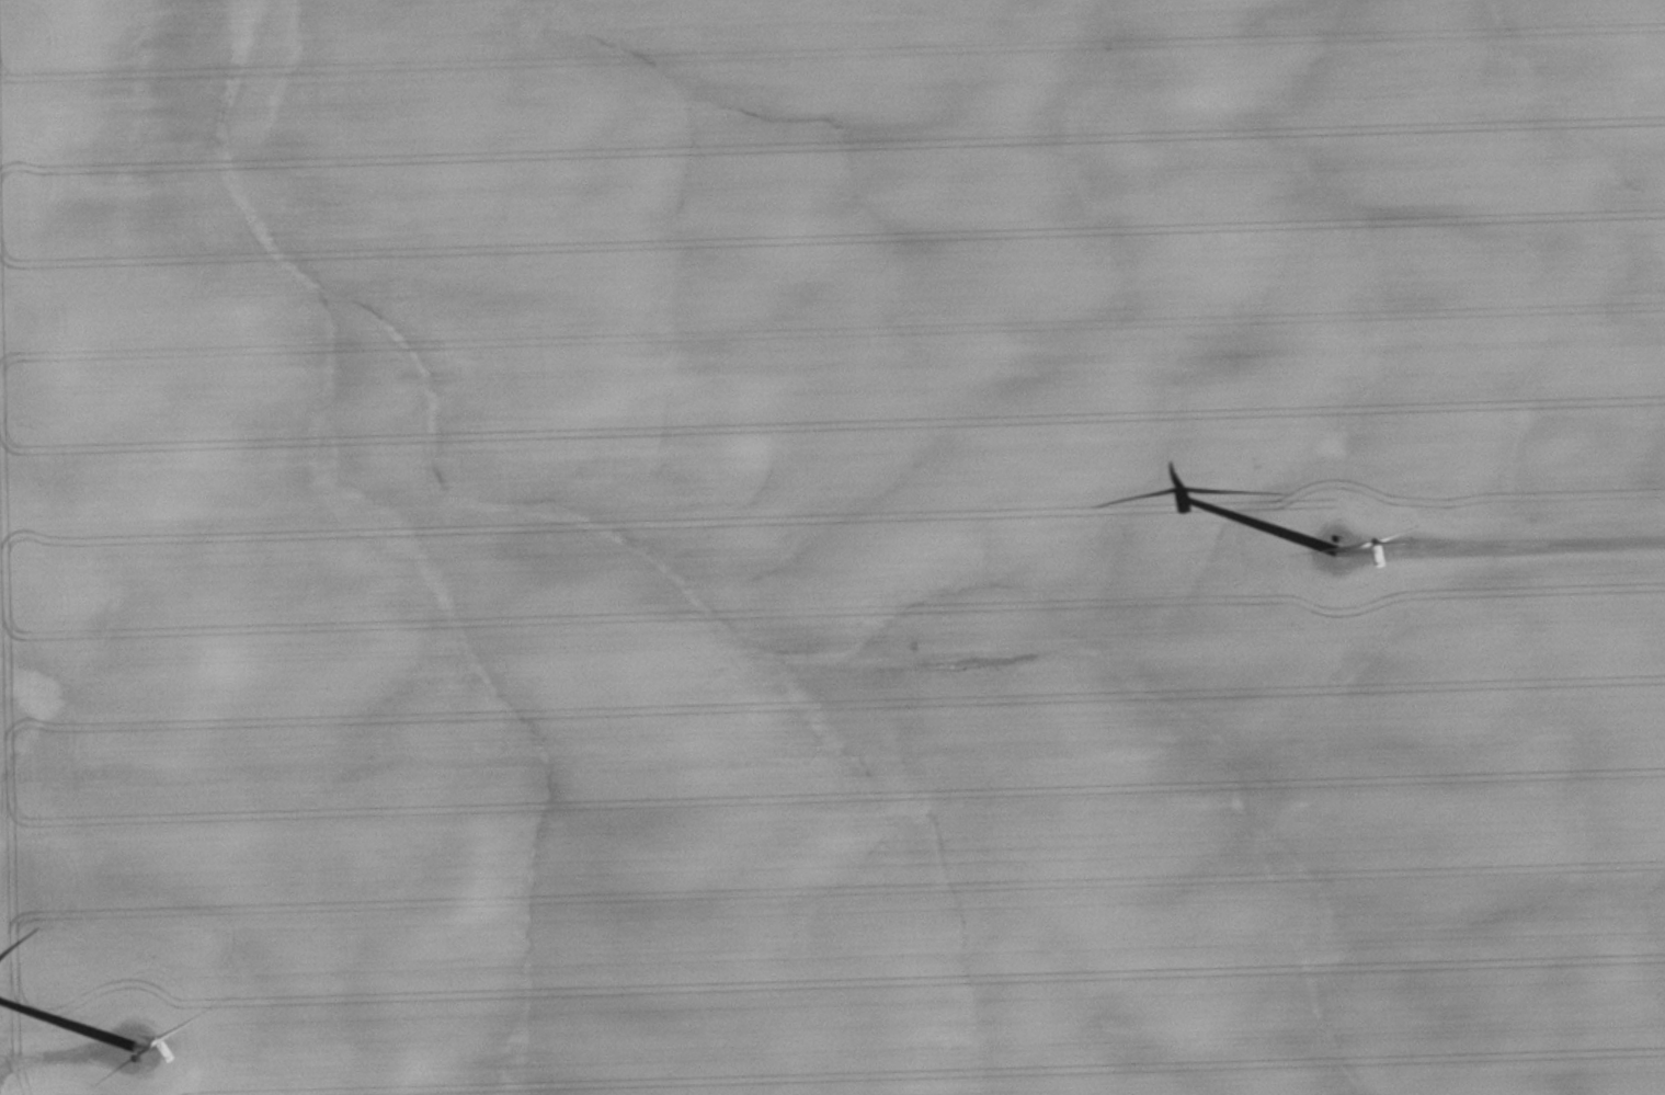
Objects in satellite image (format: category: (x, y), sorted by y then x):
road: (1524, 541)
wind turbine: (1331, 549)
wind turbine: (133, 1043)

